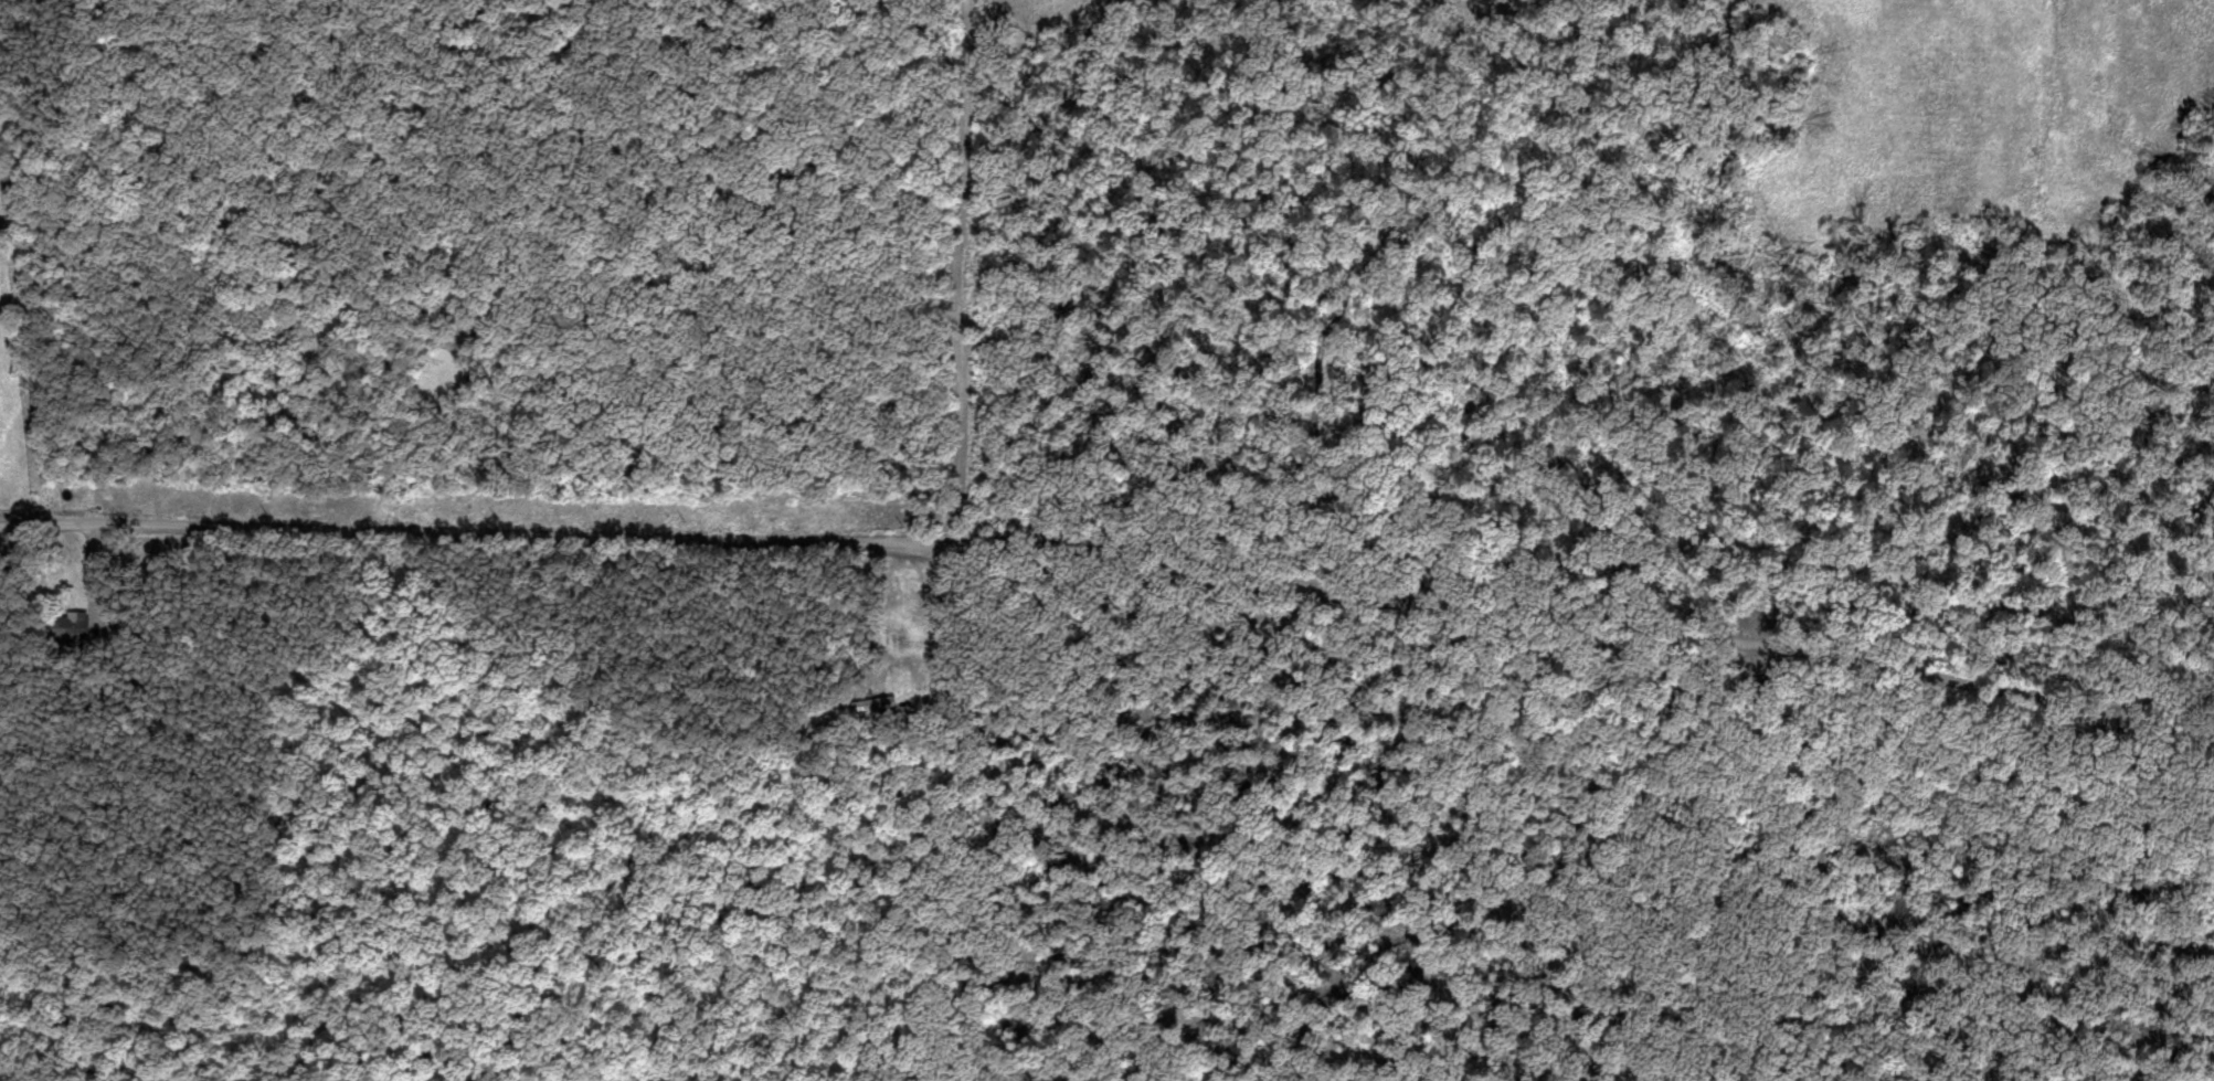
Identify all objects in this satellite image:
road: (983, 269)
road: (1113, 557)
building: (871, 706)

